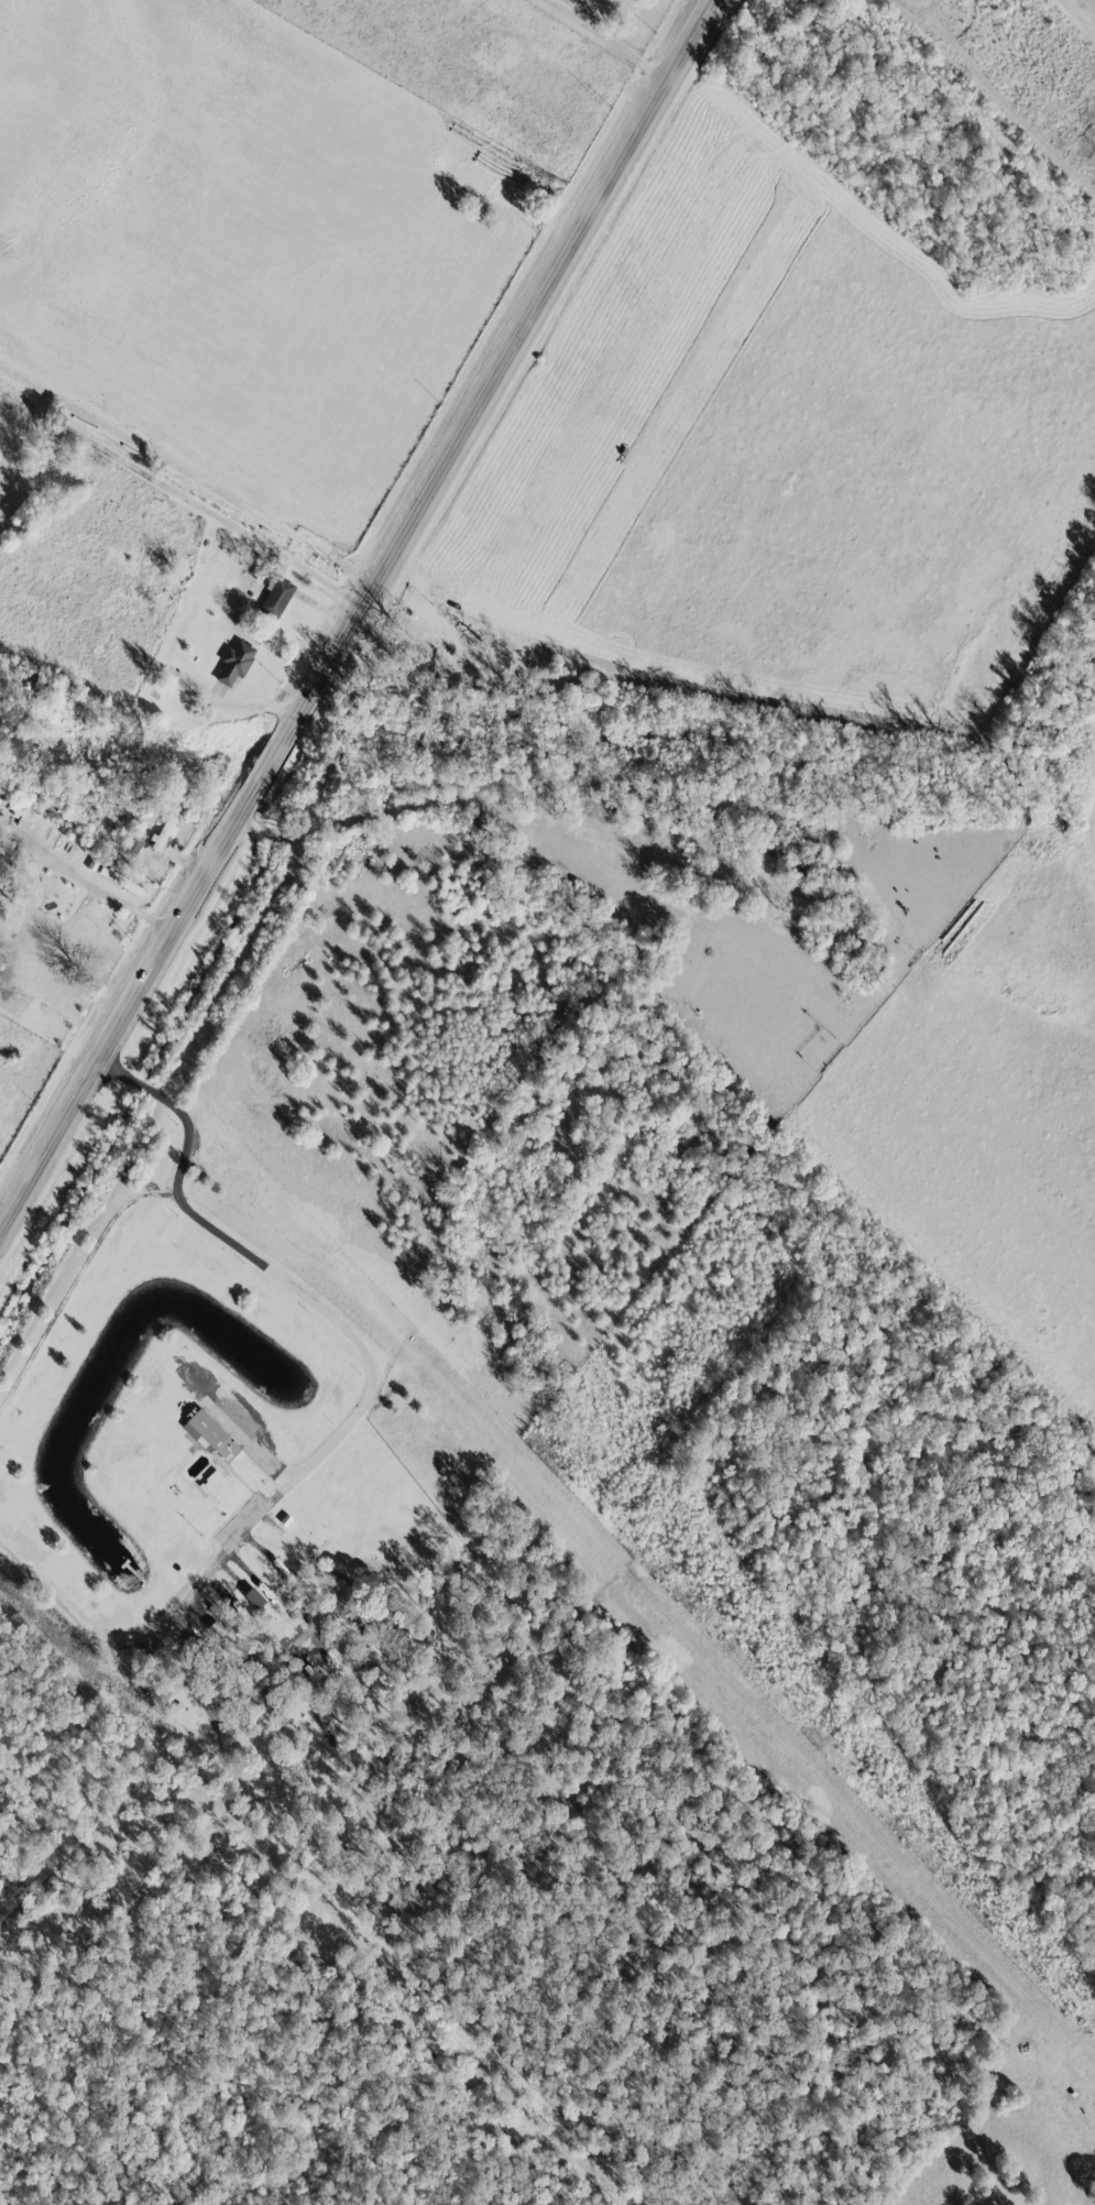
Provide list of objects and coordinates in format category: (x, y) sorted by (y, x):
road: (1083, 11)
road: (611, 41)
road: (188, 474)
building: (278, 597)
road: (357, 618)
building: (236, 662)
road: (496, 807)
building: (168, 830)
road: (42, 860)
road: (350, 1412)
building: (211, 1436)
building: (211, 1482)
building: (255, 1598)

